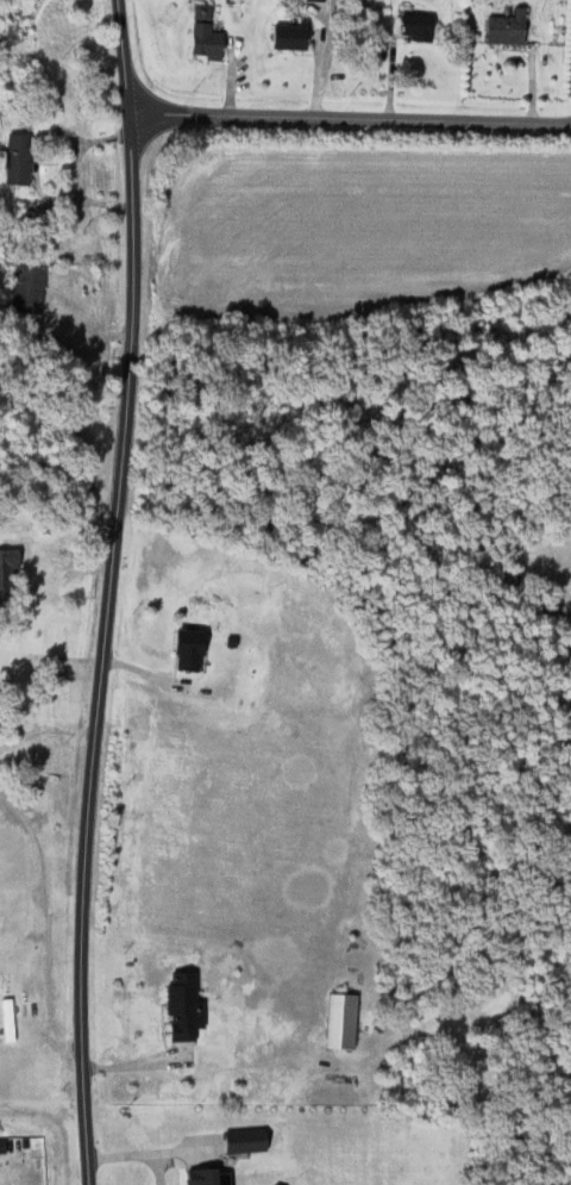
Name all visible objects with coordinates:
building: (414, 26)
building: (502, 30)
building: (203, 33)
building: (287, 36)
road: (349, 116)
building: (14, 158)
building: (25, 289)
road: (57, 545)
building: (6, 570)
road: (112, 592)
building: (186, 650)
road: (48, 730)
building: (180, 1006)
building: (339, 1021)
building: (241, 1140)
road: (151, 1152)
road: (157, 1168)
building: (205, 1175)

